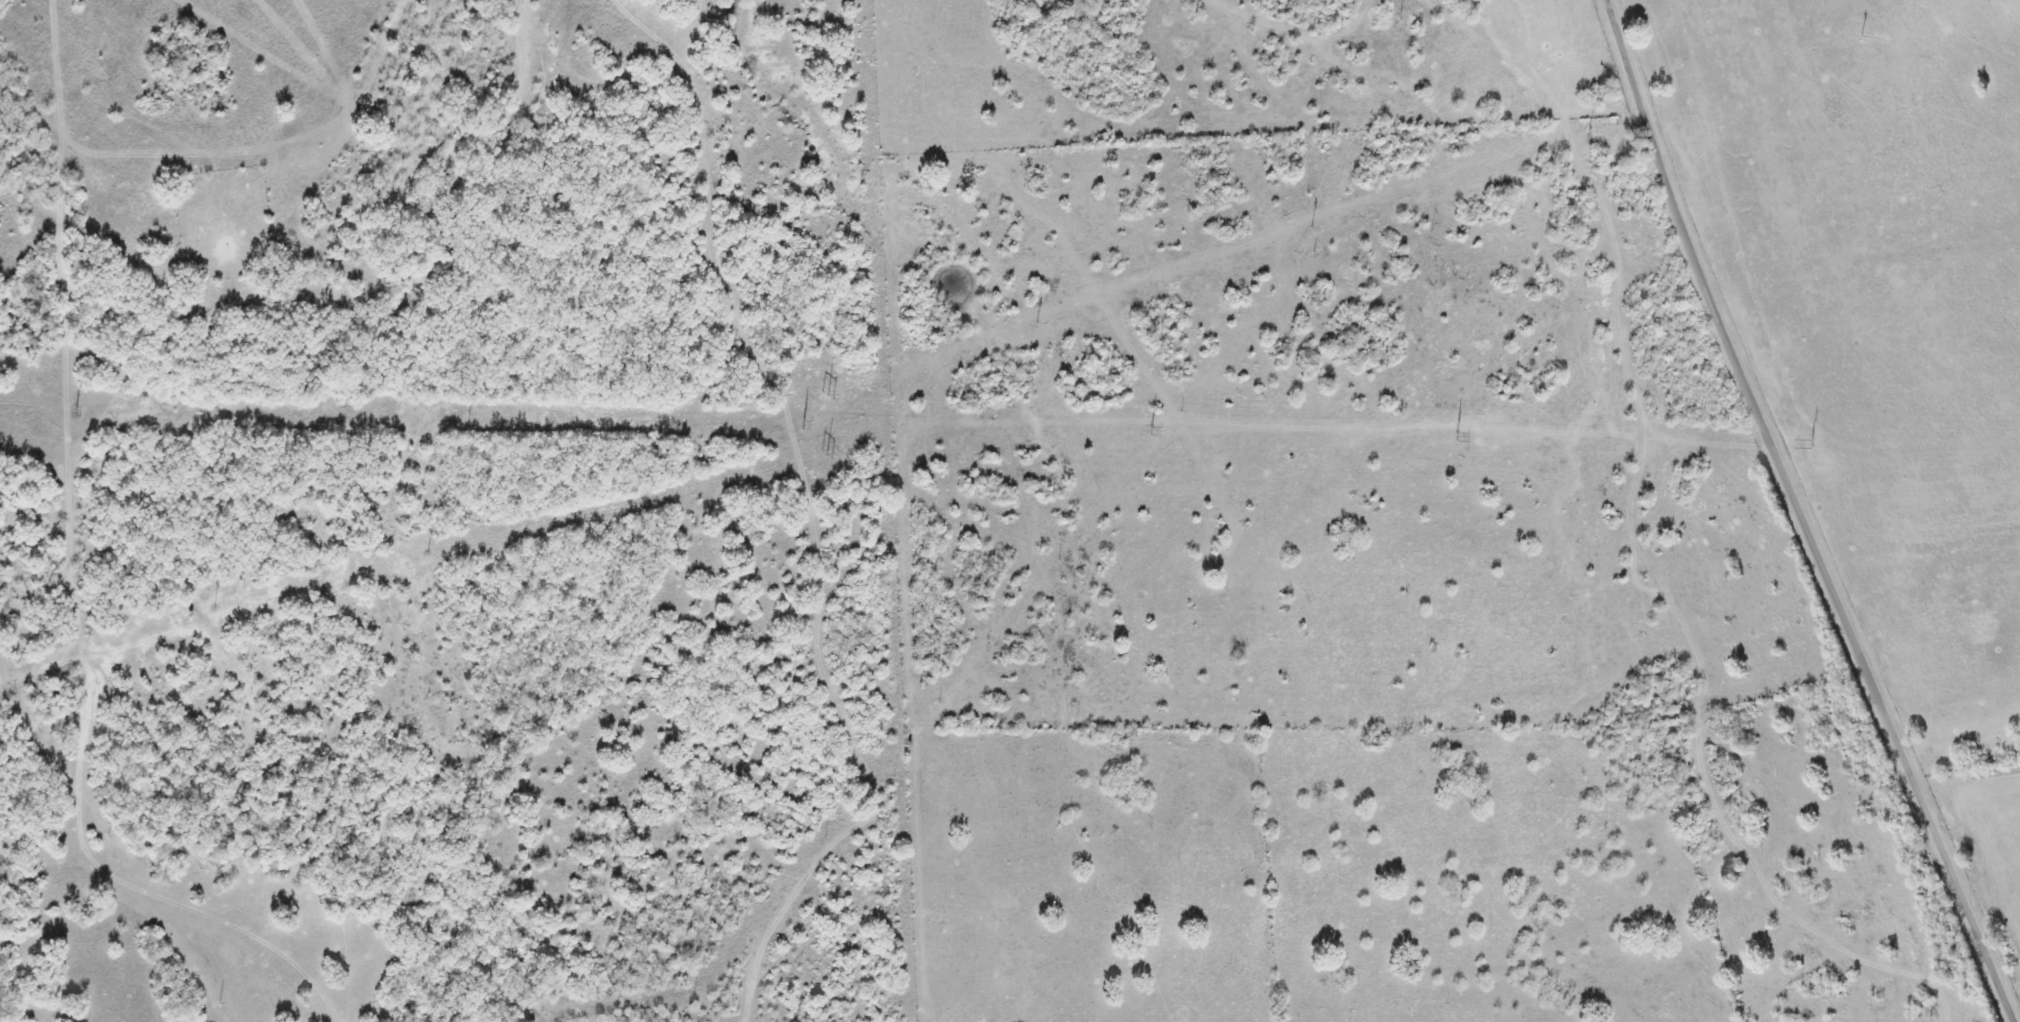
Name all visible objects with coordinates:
power tower: (75, 412)
power tower: (467, 419)
power tower: (802, 424)
power tower: (1150, 431)
power tower: (1455, 438)
power tower: (1810, 444)
road: (1808, 512)

